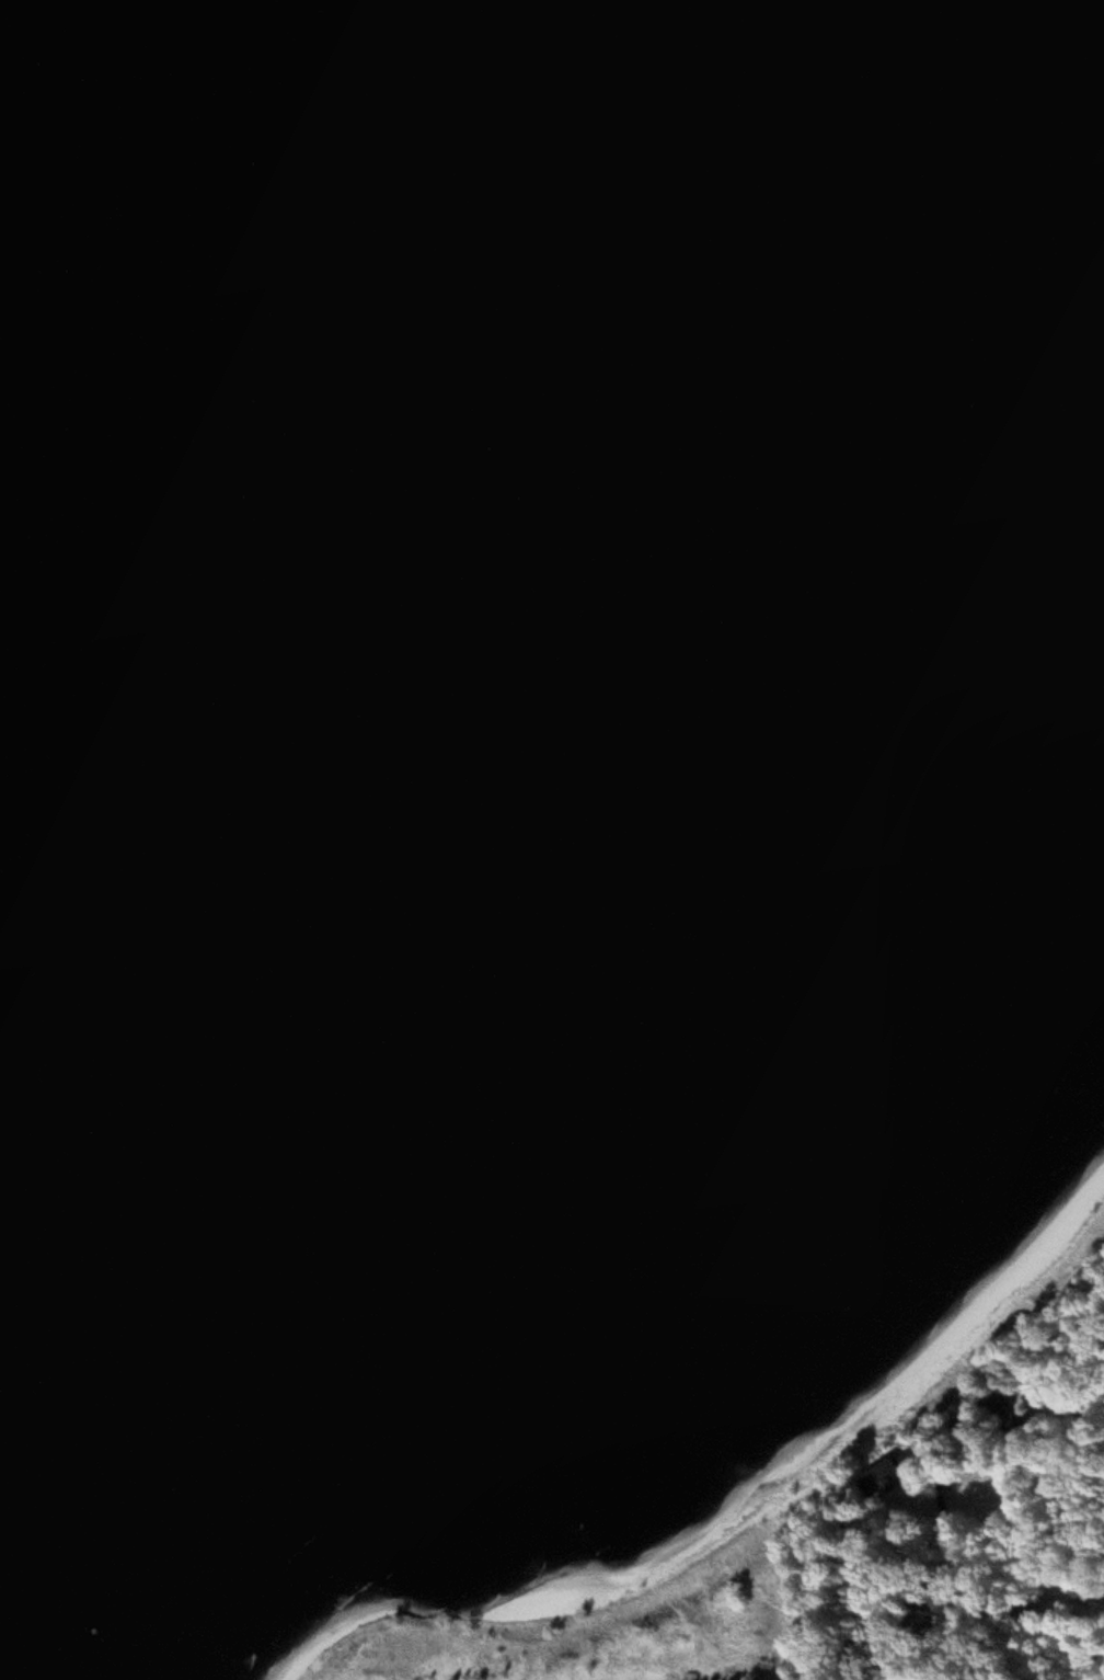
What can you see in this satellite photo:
building: (998, 1405)
road: (1103, 1407)
building: (892, 1478)
road: (1042, 1525)

